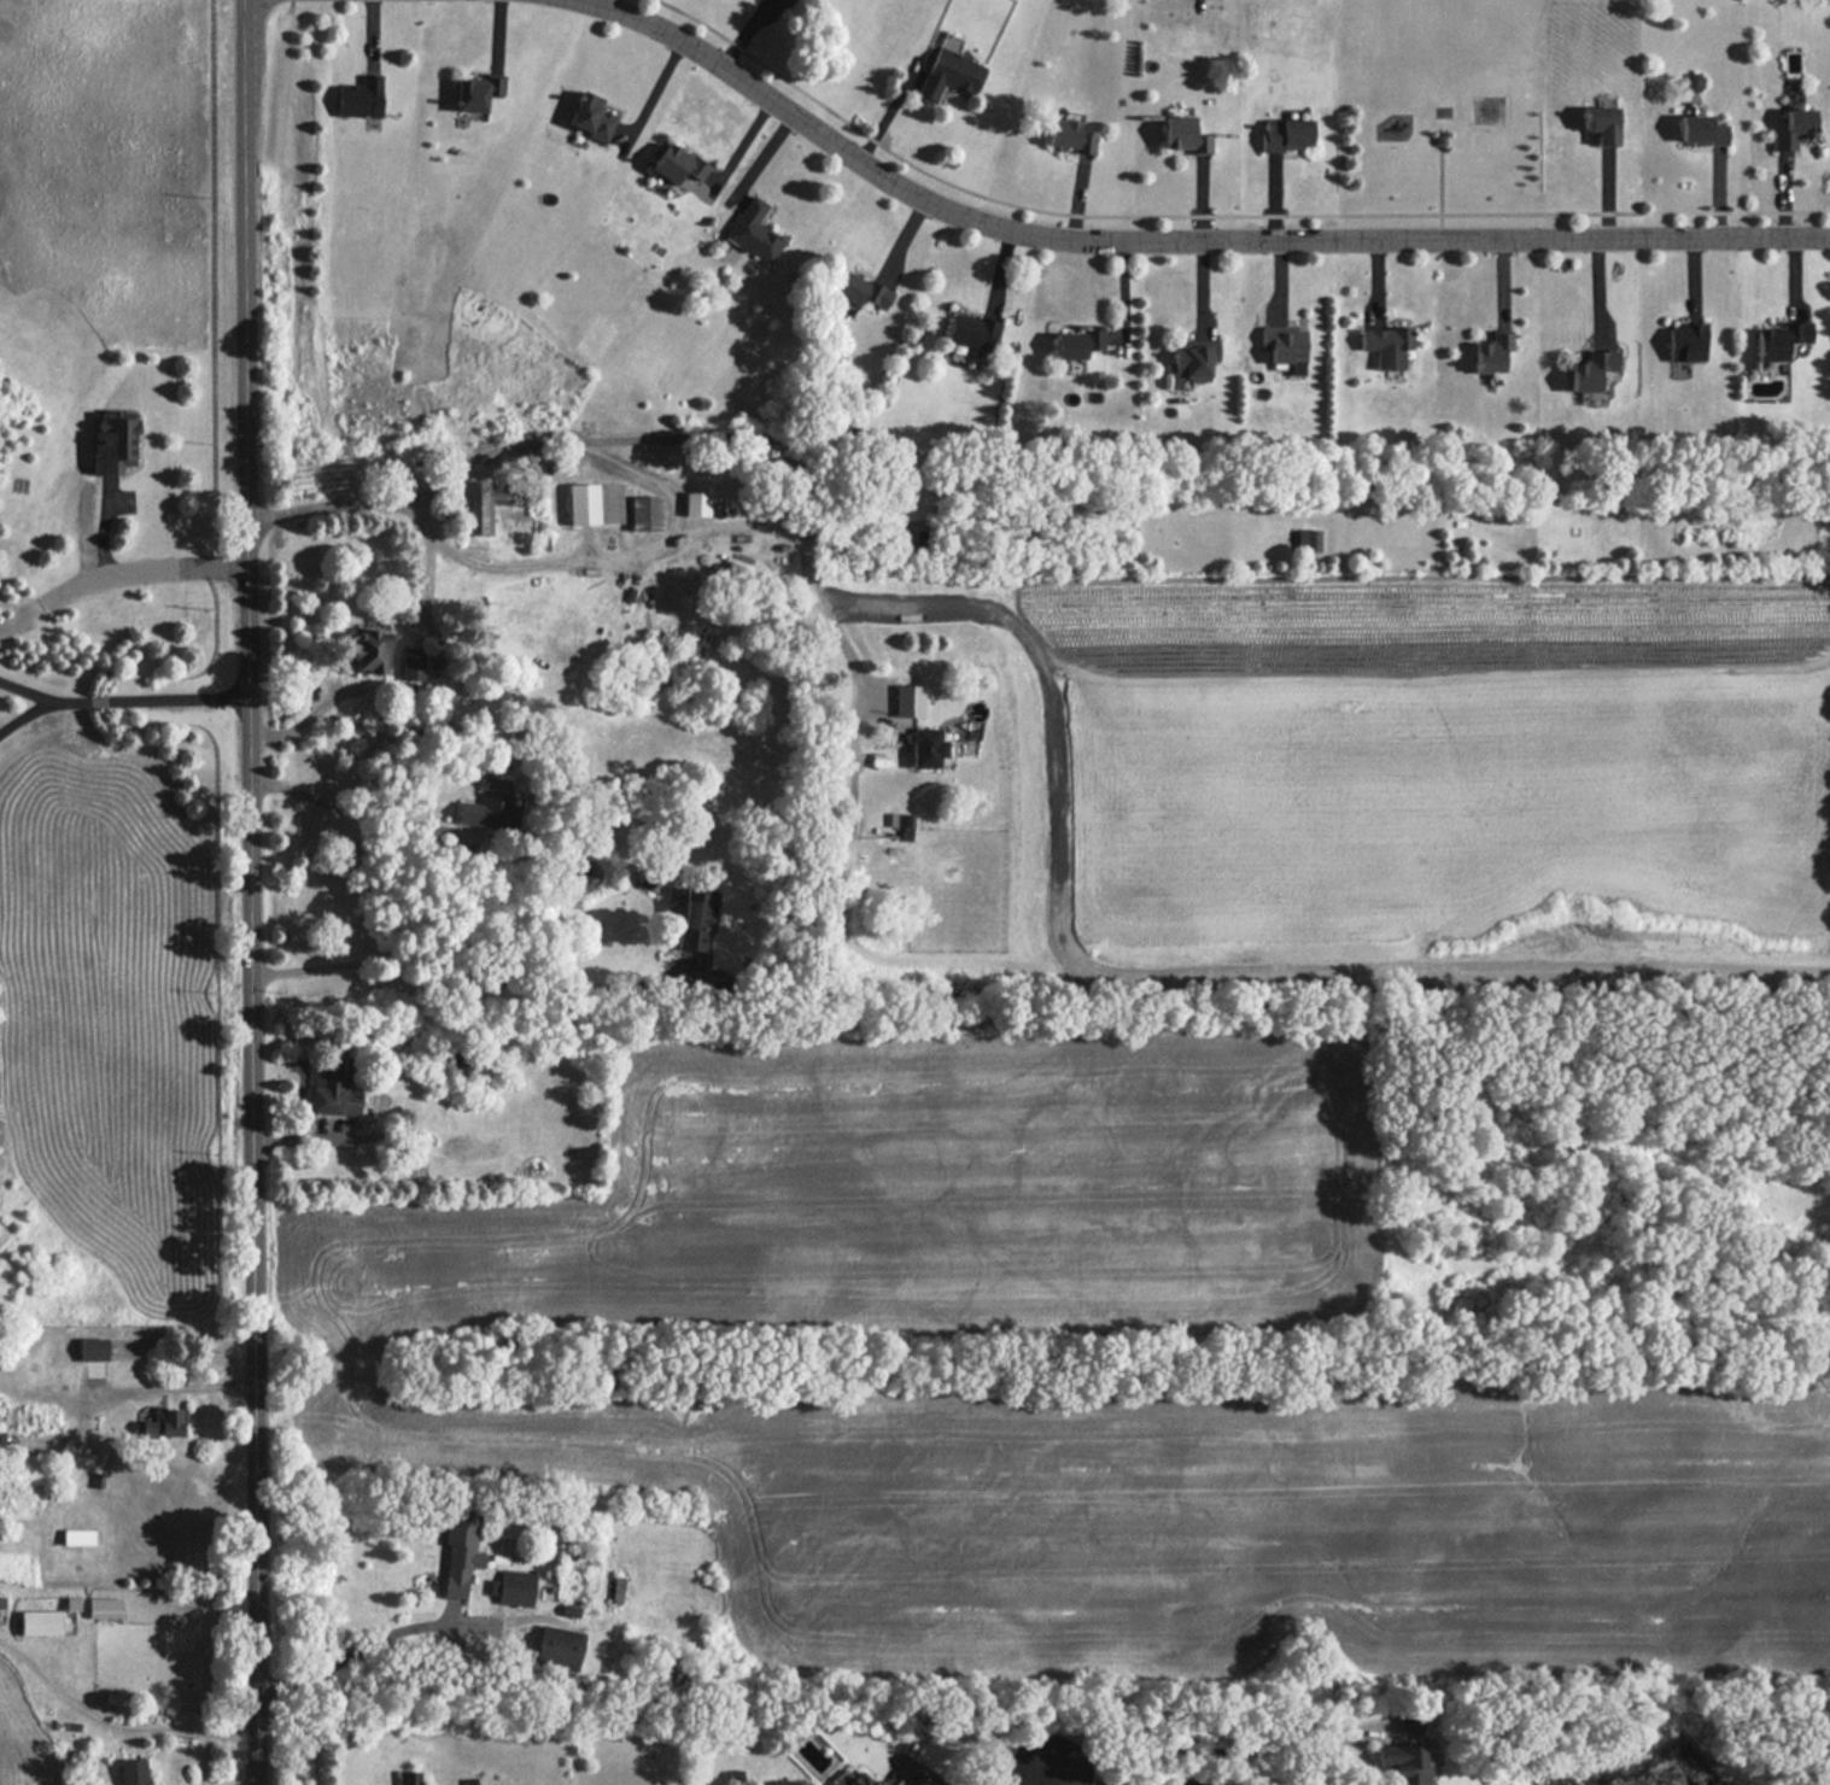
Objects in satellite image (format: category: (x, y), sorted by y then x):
building: (788, 1)
building: (1209, 2)
road: (288, 5)
building: (949, 74)
building: (1694, 81)
building: (478, 92)
building: (359, 98)
building: (592, 117)
building: (1601, 121)
building: (1701, 129)
building: (1794, 129)
building: (1286, 134)
building: (1069, 135)
building: (1182, 135)
building: (678, 164)
road: (1215, 213)
building: (755, 232)
road: (1185, 236)
building: (860, 289)
building: (971, 330)
building: (1781, 340)
building: (1686, 341)
building: (1077, 344)
building: (1386, 345)
building: (1285, 346)
building: (1492, 351)
building: (1192, 361)
building: (1591, 369)
road: (653, 437)
building: (115, 441)
road: (643, 478)
building: (486, 502)
building: (697, 503)
building: (645, 513)
building: (1308, 539)
road: (602, 557)
road: (139, 567)
road: (428, 603)
building: (368, 649)
building: (410, 663)
road: (27, 690)
road: (118, 698)
building: (908, 701)
building: (926, 747)
building: (490, 804)
road: (361, 814)
road: (249, 891)
building: (696, 919)
road: (463, 981)
building: (334, 1090)
building: (93, 1348)
road: (170, 1404)
building: (164, 1422)
building: (461, 1556)
building: (514, 1587)
building: (72, 1603)
building: (105, 1606)
building: (41, 1622)
building: (560, 1646)
road: (350, 1652)
road: (111, 1720)
road: (1206, 1742)
building: (1404, 1762)
road: (925, 1764)
building: (133, 1772)
road: (1115, 1775)
building: (409, 1778)
road: (1045, 1778)
building: (860, 1779)

